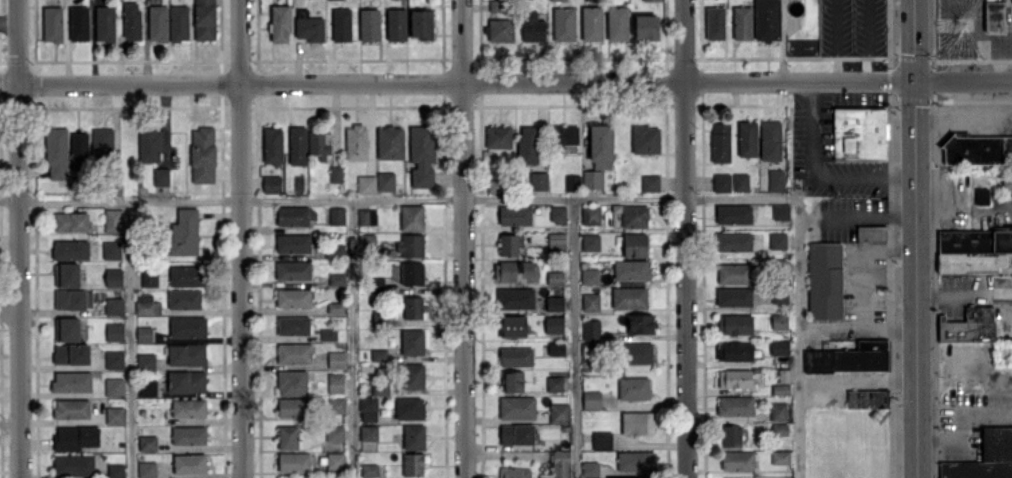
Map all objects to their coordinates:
building: (557, 0)
building: (650, 0)
building: (497, 5)
building: (994, 16)
road: (7, 17)
building: (204, 19)
building: (131, 20)
building: (766, 20)
building: (157, 22)
building: (714, 22)
building: (741, 22)
building: (78, 23)
building: (104, 23)
building: (178, 23)
building: (279, 23)
building: (421, 23)
building: (591, 23)
building: (616, 23)
building: (52, 24)
building: (341, 24)
building: (368, 24)
building: (396, 24)
building: (563, 24)
building: (531, 27)
building: (646, 27)
building: (309, 28)
building: (499, 29)
road: (978, 37)
road: (835, 40)
road: (866, 40)
road: (999, 58)
traffic signals: (914, 80)
road: (514, 81)
building: (859, 133)
building: (497, 137)
building: (565, 138)
building: (645, 139)
building: (747, 139)
building: (770, 140)
building: (101, 141)
building: (355, 142)
building: (389, 142)
building: (720, 142)
building: (527, 144)
building: (149, 145)
building: (272, 145)
building: (297, 145)
building: (319, 145)
building: (600, 146)
building: (79, 149)
building: (978, 149)
building: (55, 153)
building: (202, 154)
building: (421, 155)
building: (335, 173)
building: (160, 176)
road: (813, 178)
building: (591, 179)
building: (538, 180)
building: (776, 180)
building: (385, 181)
building: (571, 182)
building: (650, 182)
building: (721, 182)
building: (740, 182)
building: (271, 184)
building: (366, 184)
building: (492, 186)
building: (981, 195)
road: (406, 200)
road: (870, 211)
building: (780, 212)
building: (557, 213)
building: (733, 214)
building: (514, 215)
building: (590, 215)
building: (294, 216)
building: (336, 216)
building: (366, 216)
building: (634, 216)
building: (411, 217)
building: (112, 220)
building: (70, 222)
building: (184, 232)
building: (870, 233)
road: (17, 238)
road: (240, 238)
road: (685, 238)
road: (463, 239)
road: (915, 239)
building: (777, 240)
building: (556, 241)
building: (733, 241)
building: (590, 242)
building: (292, 243)
building: (509, 244)
building: (634, 244)
building: (410, 245)
building: (70, 249)
building: (111, 250)
building: (973, 250)
building: (334, 251)
road: (864, 264)
building: (631, 269)
building: (292, 270)
building: (515, 271)
building: (411, 273)
building: (734, 273)
building: (66, 274)
building: (186, 276)
building: (589, 276)
building: (113, 277)
building: (148, 278)
building: (554, 278)
building: (336, 279)
building: (824, 280)
building: (375, 284)
road: (964, 292)
building: (779, 293)
building: (733, 296)
building: (293, 297)
building: (514, 297)
building: (628, 297)
building: (72, 299)
building: (183, 299)
building: (590, 302)
building: (554, 303)
building: (146, 304)
building: (113, 306)
building: (412, 307)
building: (779, 321)
building: (734, 323)
building: (553, 324)
building: (639, 324)
building: (293, 325)
building: (511, 325)
building: (968, 325)
building: (187, 327)
road: (856, 327)
building: (66, 329)
building: (114, 331)
building: (143, 334)
building: (327, 334)
building: (589, 336)
road: (573, 338)
road: (797, 338)
road: (351, 339)
road: (130, 340)
building: (412, 342)
building: (779, 347)
building: (555, 348)
building: (734, 351)
building: (293, 353)
building: (637, 353)
building: (70, 354)
building: (186, 354)
building: (378, 354)
building: (515, 356)
building: (849, 358)
building: (114, 359)
building: (336, 359)
building: (145, 360)
building: (413, 376)
building: (735, 378)
road: (863, 378)
building: (71, 381)
building: (186, 381)
building: (512, 381)
building: (291, 382)
building: (781, 382)
building: (335, 383)
building: (554, 383)
building: (113, 387)
building: (146, 388)
building: (379, 388)
building: (633, 388)
building: (866, 398)
building: (591, 399)
building: (735, 405)
building: (292, 407)
building: (516, 407)
building: (71, 408)
building: (409, 408)
building: (188, 409)
building: (368, 409)
building: (778, 411)
building: (558, 413)
building: (114, 415)
building: (637, 423)
road: (962, 423)
building: (779, 429)
building: (334, 433)
building: (368, 433)
building: (516, 433)
building: (188, 435)
building: (730, 435)
building: (413, 436)
building: (74, 437)
building: (287, 437)
building: (601, 440)
building: (147, 443)
building: (780, 457)
building: (985, 457)
building: (334, 460)
building: (737, 460)
building: (635, 461)
building: (294, 462)
building: (189, 463)
building: (412, 464)
building: (73, 465)
building: (559, 465)
building: (589, 468)
building: (146, 469)
building: (115, 470)
building: (368, 470)
building: (515, 472)
building: (614, 477)

